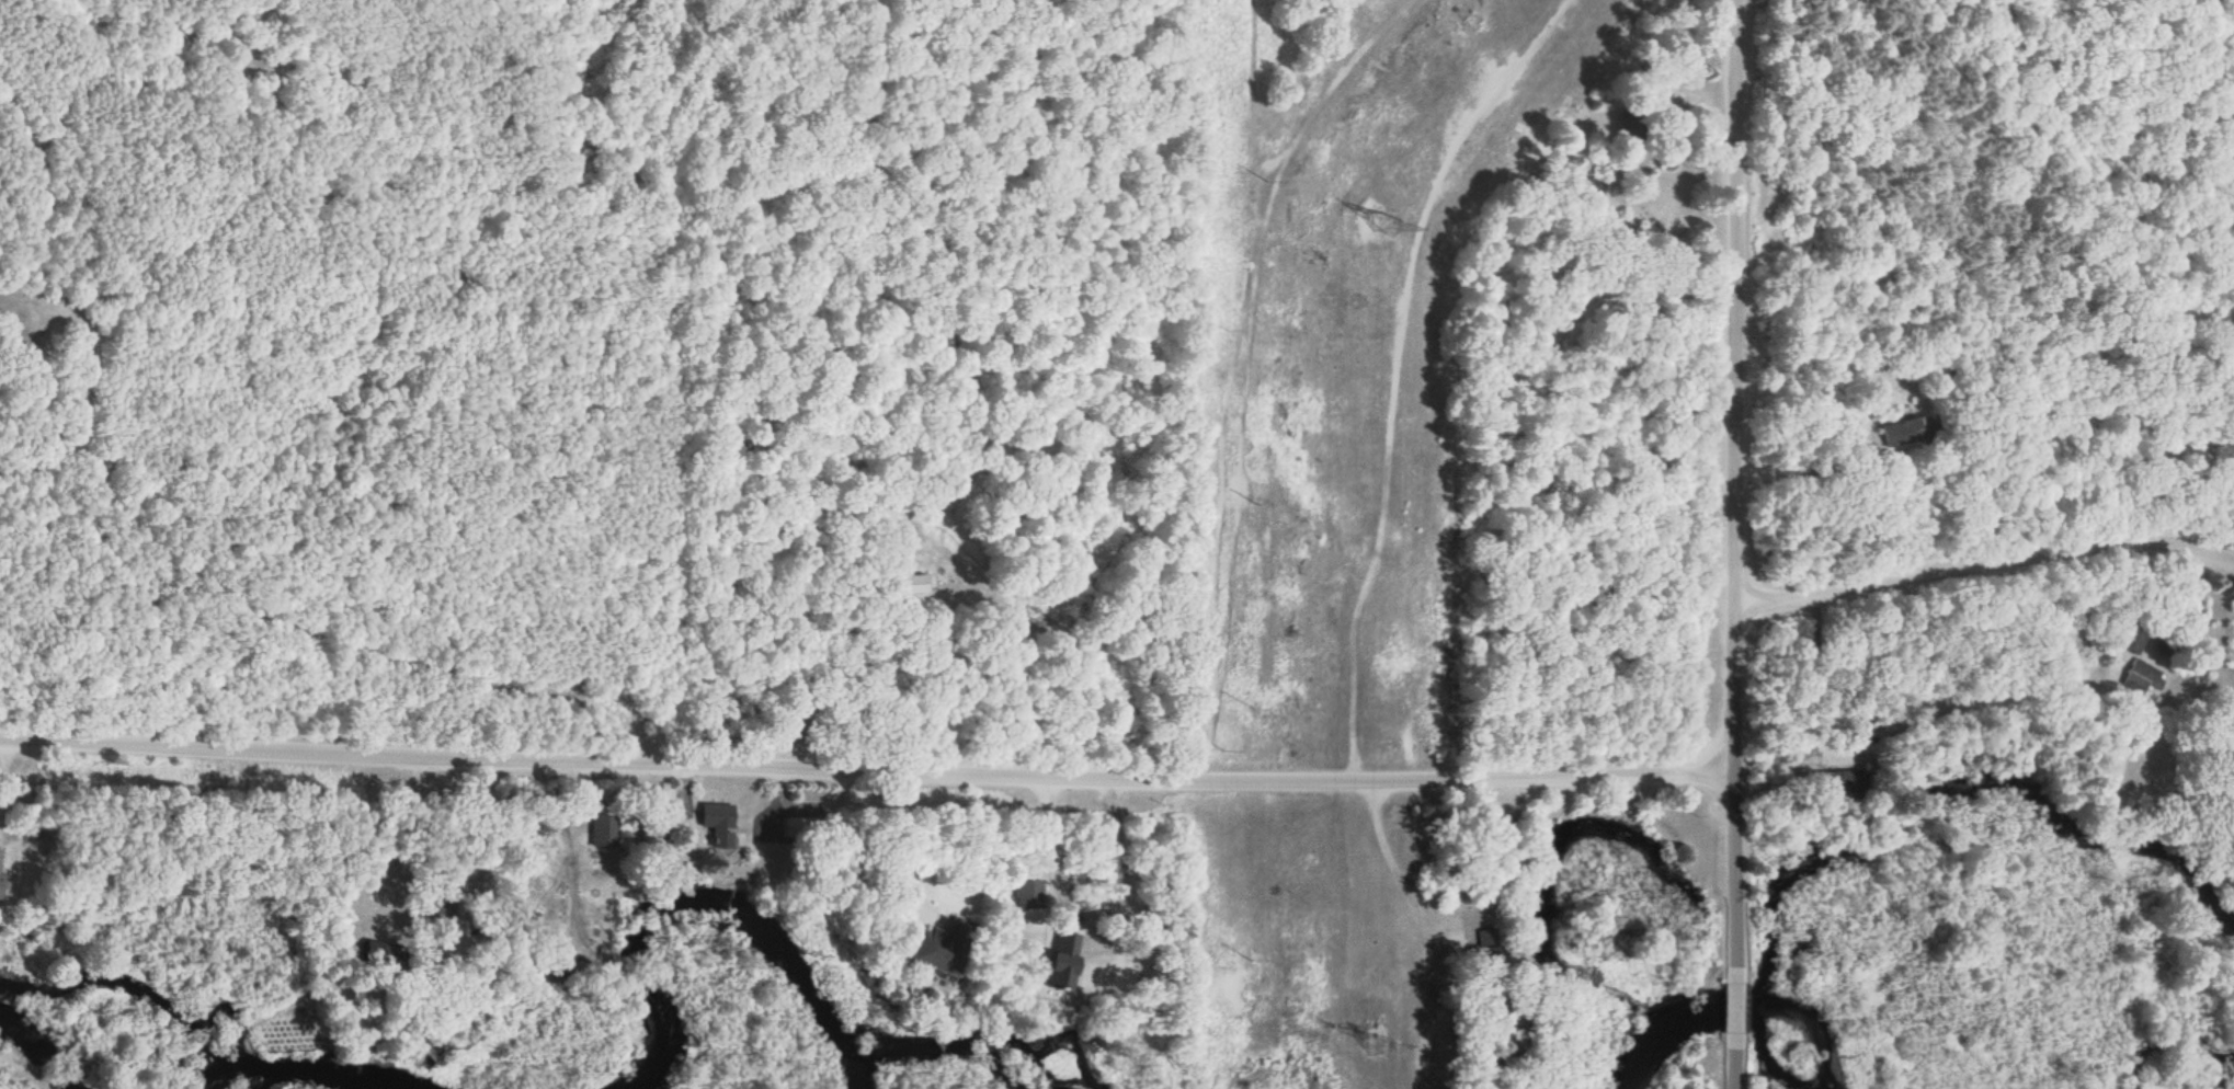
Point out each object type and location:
power tower: (1381, 221)
road: (1730, 402)
building: (1905, 432)
road: (1982, 569)
building: (913, 584)
road: (860, 767)
building: (719, 816)
building: (800, 828)
road: (401, 852)
road: (1735, 887)
river: (721, 913)
building: (947, 947)
building: (379, 954)
road: (1739, 1004)
river: (1736, 1010)
river: (204, 1027)
power tower: (1382, 1038)
road: (1735, 1063)
river: (2214, 1070)

